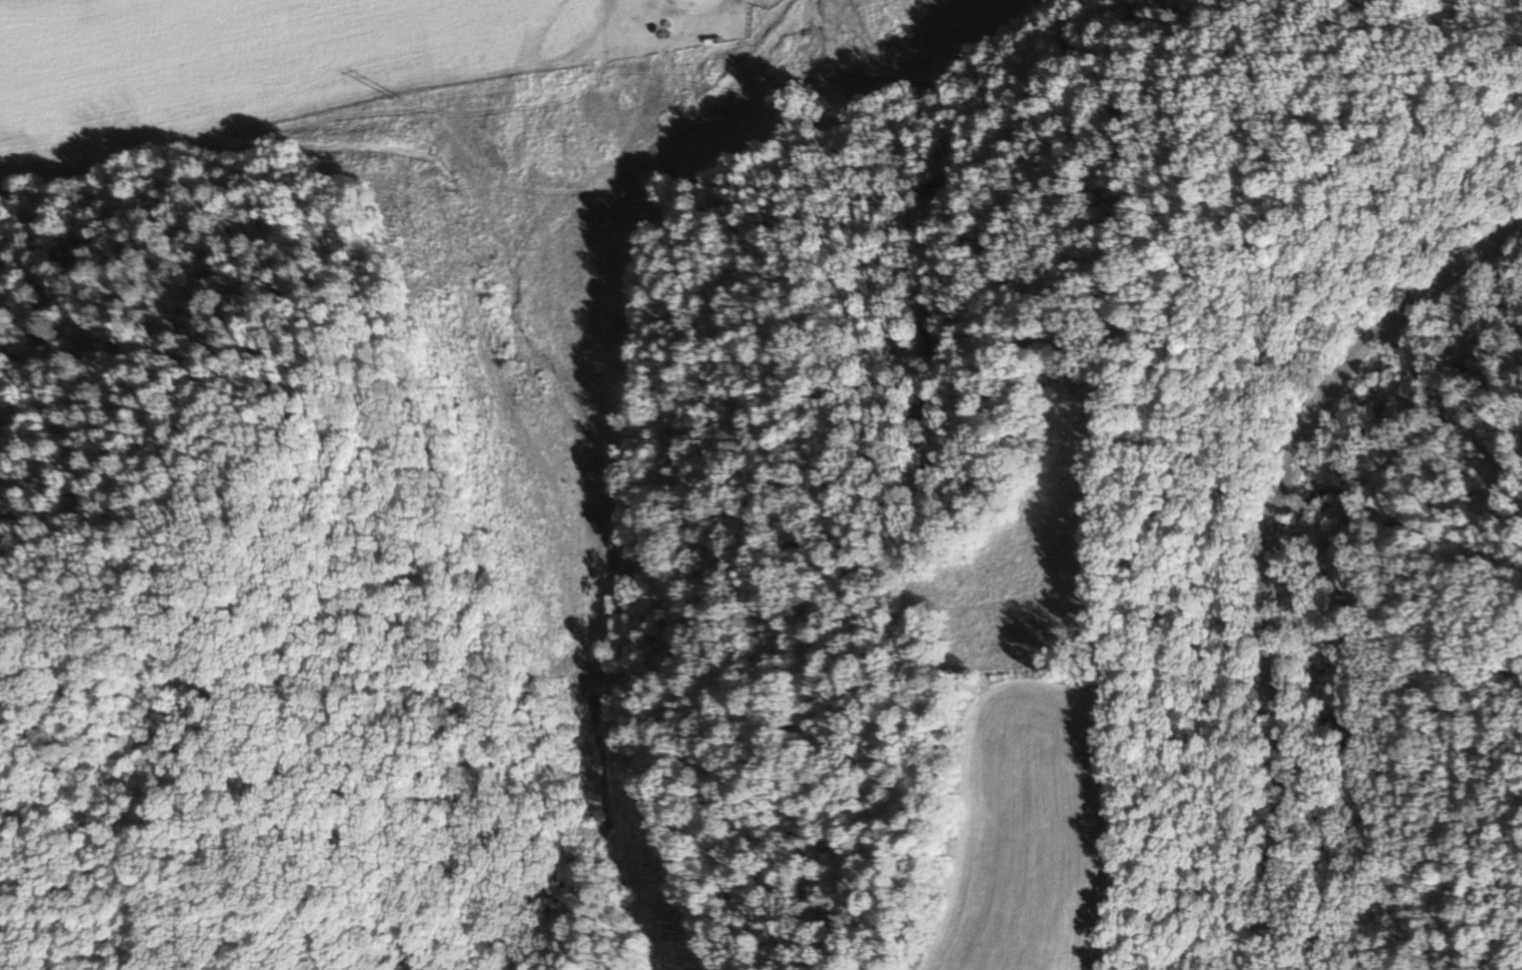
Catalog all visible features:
power tower: (399, 97)
crop: (437, 122)
power tower: (474, 339)
road: (1261, 561)

